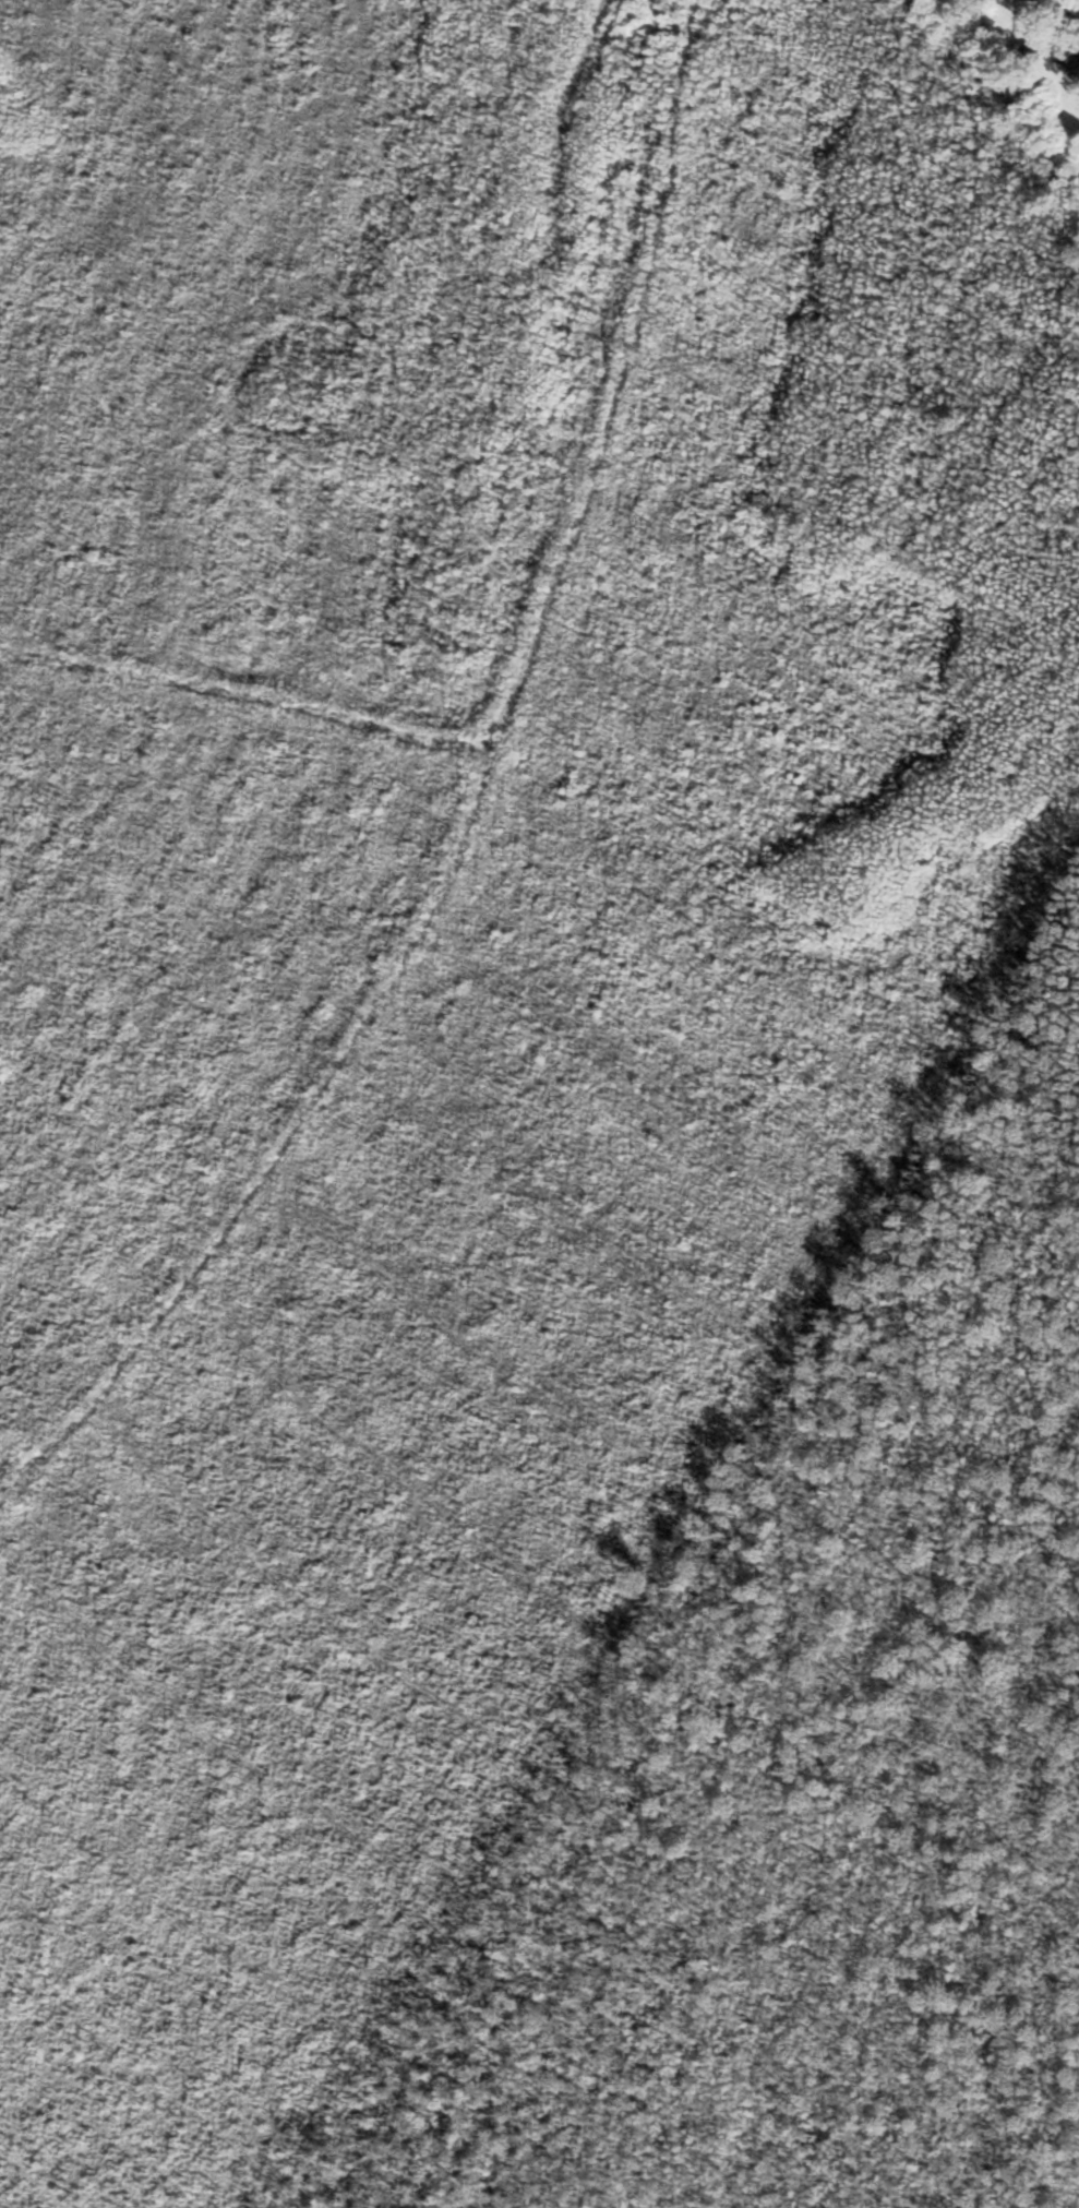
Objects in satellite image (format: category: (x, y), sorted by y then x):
building: (1034, 47)
building: (1066, 55)

